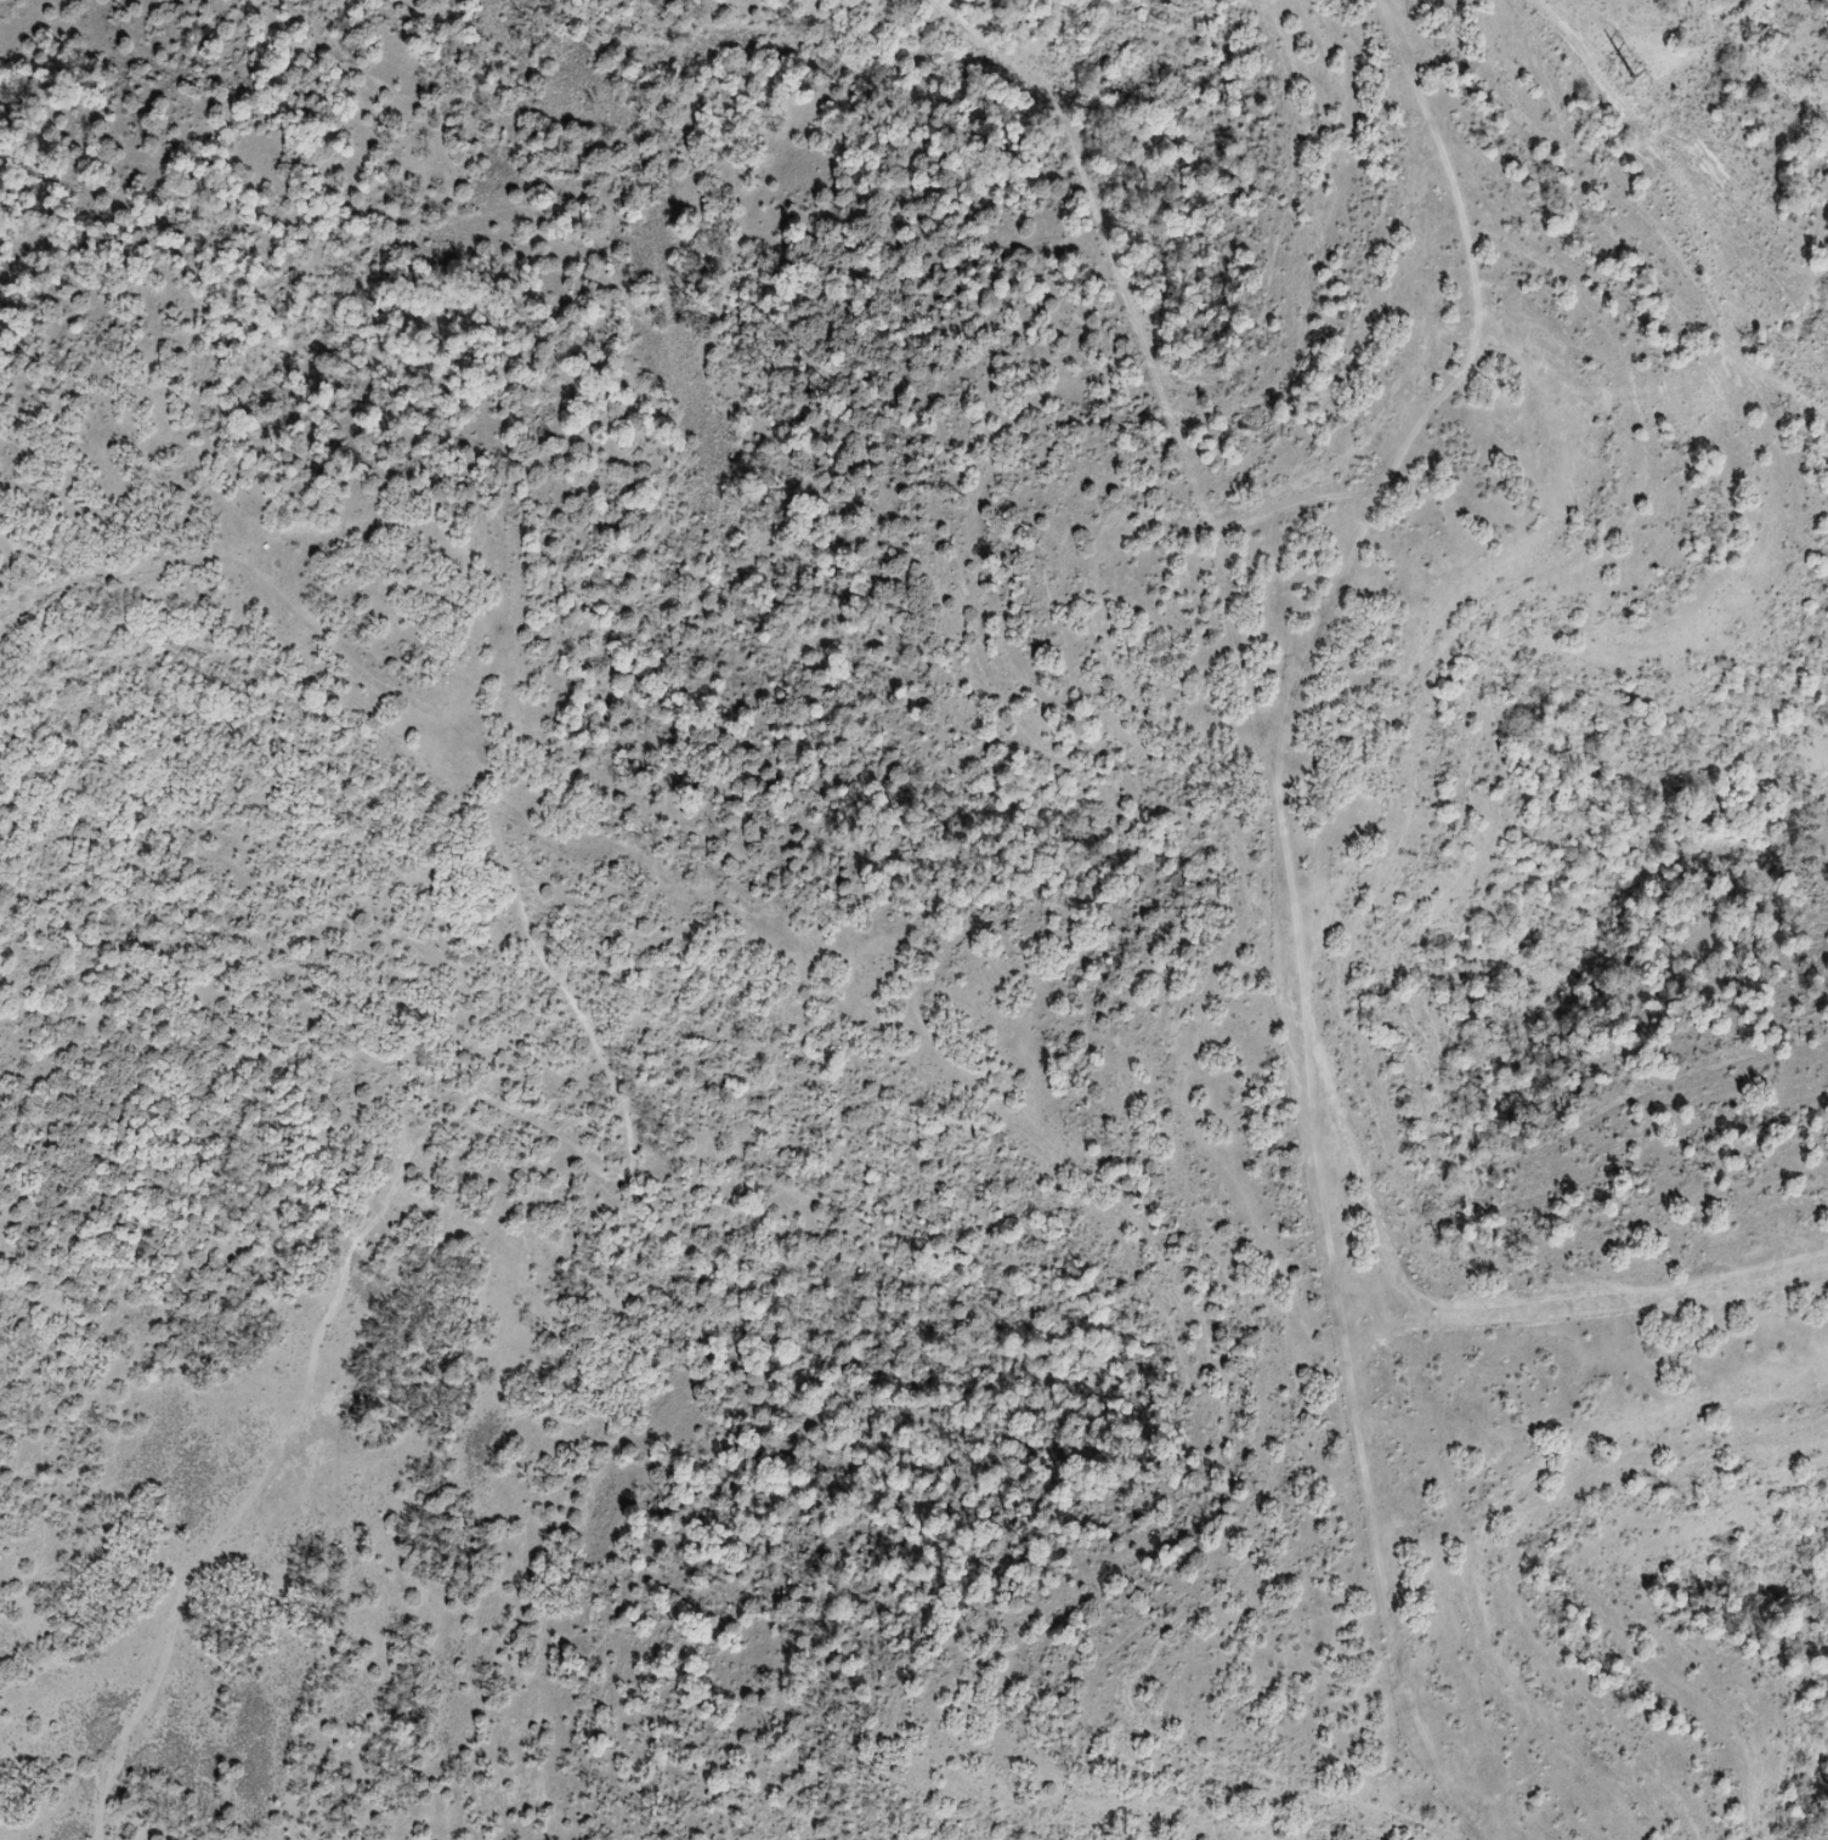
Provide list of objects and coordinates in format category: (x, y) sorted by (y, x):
power tower: (1635, 78)

